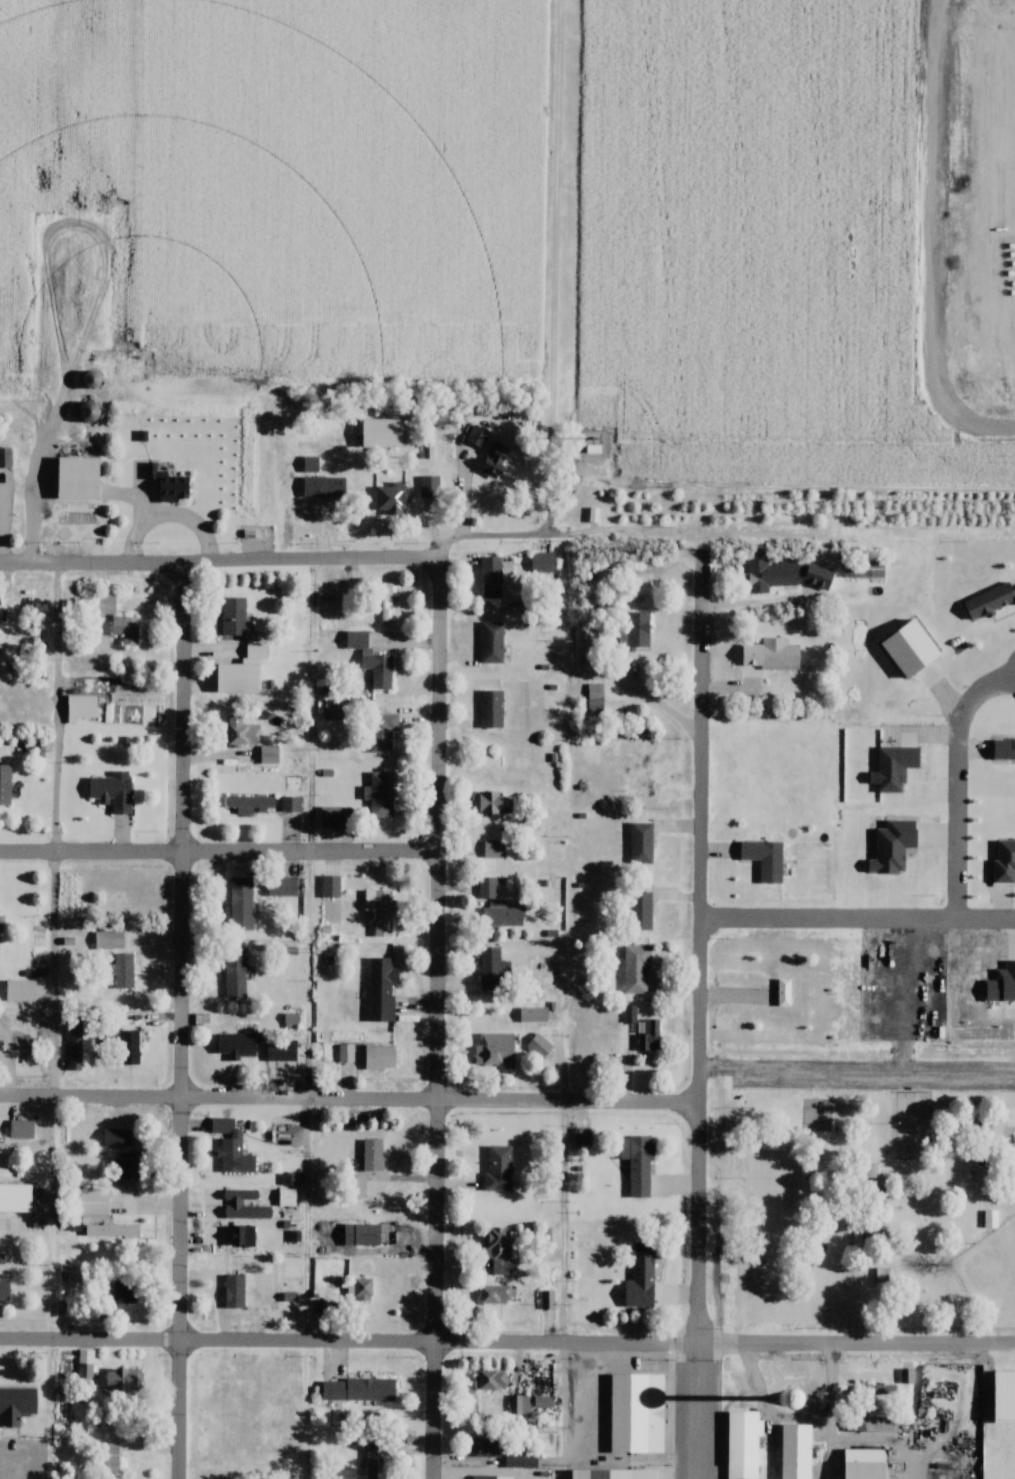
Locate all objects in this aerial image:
crop: (329, 174)
road: (552, 306)
building: (91, 380)
building: (89, 411)
building: (476, 438)
building: (5, 458)
building: (495, 461)
building: (310, 465)
building: (78, 477)
building: (168, 481)
building: (325, 485)
building: (429, 491)
building: (391, 500)
road: (446, 548)
road: (220, 561)
building: (543, 563)
building: (863, 570)
building: (767, 575)
building: (491, 578)
building: (990, 601)
building: (386, 603)
building: (233, 614)
building: (125, 629)
building: (637, 632)
building: (492, 641)
building: (580, 641)
building: (256, 651)
building: (372, 664)
building: (796, 674)
building: (595, 700)
road: (655, 702)
building: (492, 707)
building: (333, 710)
building: (383, 731)
building: (643, 770)
road: (955, 784)
building: (5, 785)
building: (381, 792)
building: (112, 793)
building: (493, 803)
building: (252, 804)
building: (290, 804)
building: (335, 817)
building: (642, 841)
building: (494, 849)
road: (220, 852)
building: (765, 860)
building: (282, 887)
building: (330, 887)
building: (487, 887)
building: (241, 904)
building: (381, 911)
building: (640, 911)
building: (501, 916)
road: (858, 921)
building: (109, 941)
building: (494, 970)
building: (636, 970)
building: (123, 971)
building: (539, 973)
building: (235, 975)
building: (382, 990)
building: (784, 992)
building: (533, 1015)
road: (184, 1020)
road: (441, 1024)
building: (649, 1037)
building: (238, 1046)
building: (539, 1047)
road: (702, 1048)
building: (75, 1049)
building: (129, 1049)
building: (497, 1051)
building: (346, 1054)
building: (380, 1058)
road: (351, 1100)
building: (222, 1126)
building: (912, 1126)
park: (913, 1126)
building: (21, 1131)
building: (582, 1137)
building: (116, 1138)
building: (373, 1156)
building: (232, 1157)
park: (767, 1158)
building: (638, 1165)
building: (127, 1166)
building: (498, 1168)
building: (357, 1187)
park: (866, 1194)
building: (287, 1198)
building: (92, 1203)
building: (243, 1206)
road: (310, 1220)
building: (989, 1220)
road: (566, 1222)
building: (111, 1231)
building: (361, 1233)
building: (240, 1237)
building: (499, 1252)
building: (643, 1263)
building: (763, 1263)
park: (992, 1276)
park: (758, 1282)
building: (357, 1288)
building: (4, 1290)
building: (234, 1292)
building: (121, 1293)
building: (497, 1295)
road: (507, 1342)
building: (85, 1372)
building: (123, 1381)
building: (492, 1381)
building: (371, 1388)
water tower: (786, 1403)
building: (17, 1405)
building: (520, 1406)
building: (638, 1411)
road: (837, 1411)
building: (1000, 1413)
building: (1000, 1440)
building: (741, 1445)
building: (485, 1448)
building: (796, 1451)
building: (371, 1459)
building: (864, 1464)
building: (610, 1473)
building: (483, 1478)

